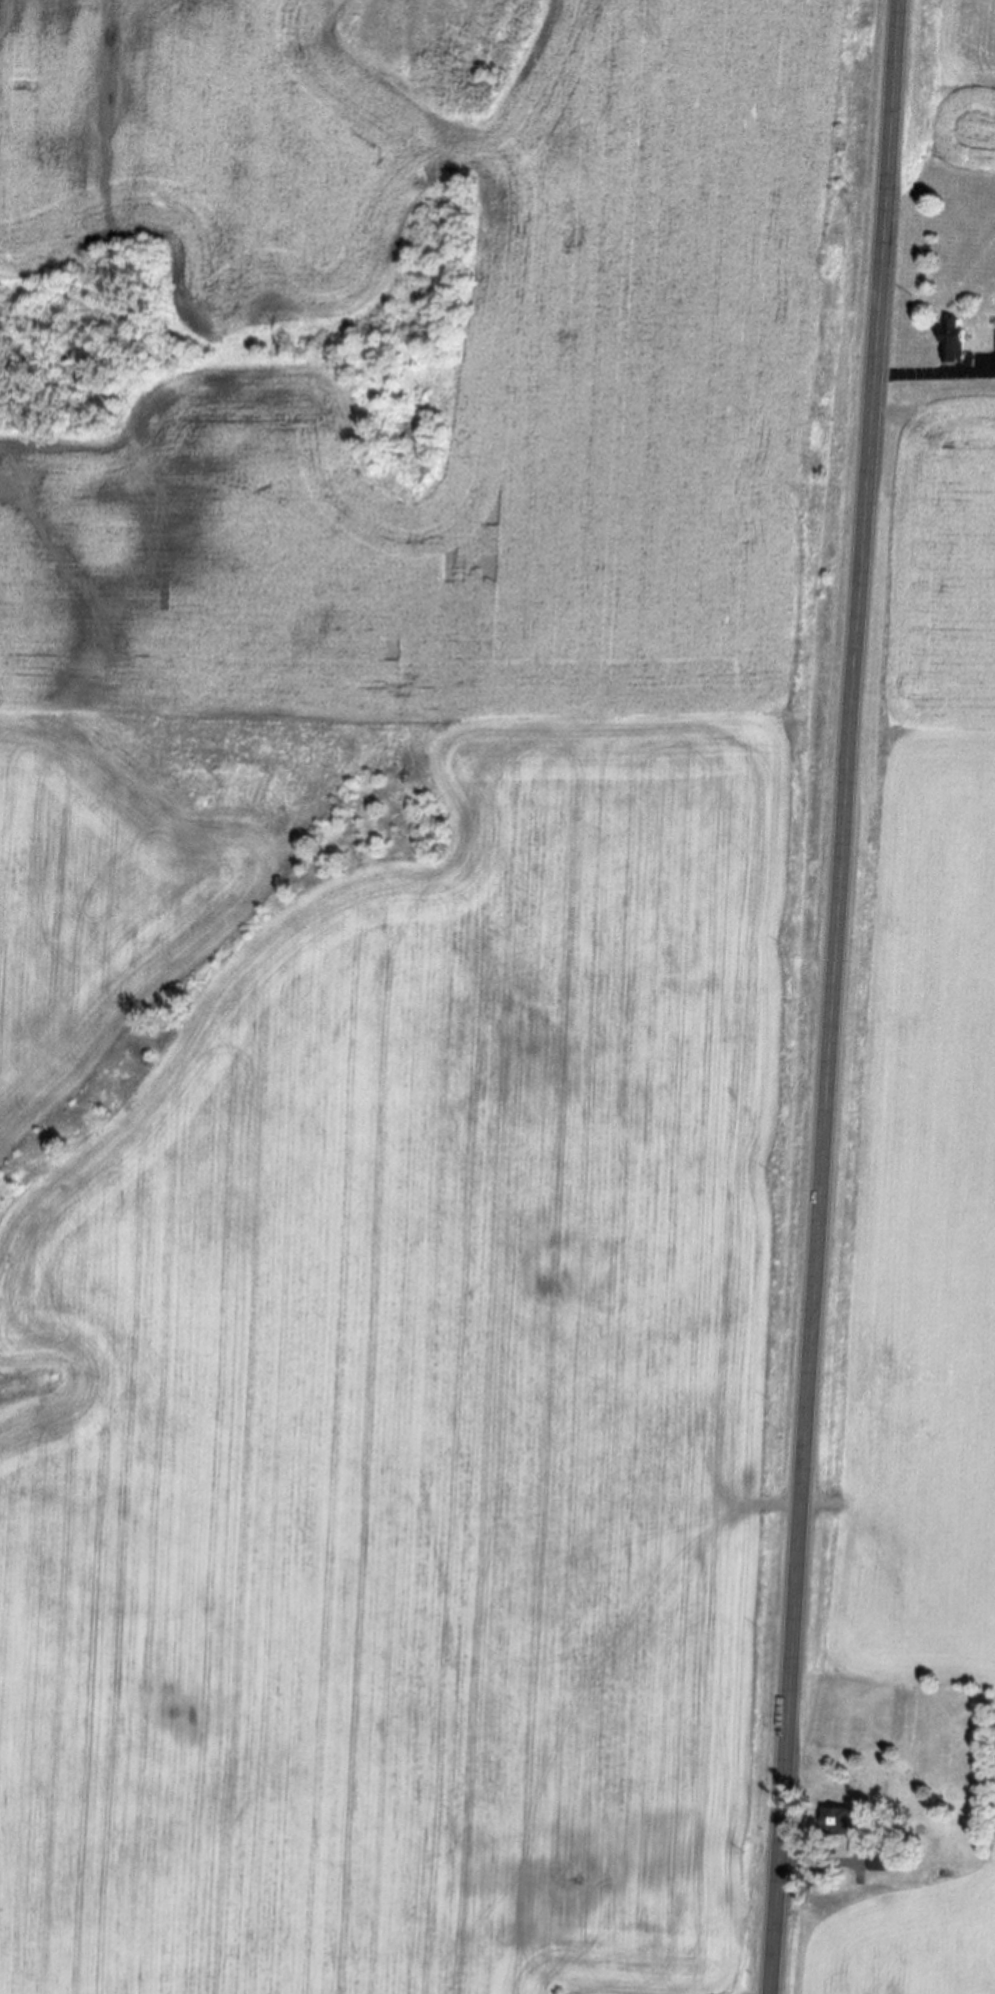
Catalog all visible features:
building: (950, 341)
road: (934, 376)
road: (833, 996)
building: (928, 1742)
building: (859, 1845)
building: (957, 1888)
building: (896, 1959)

